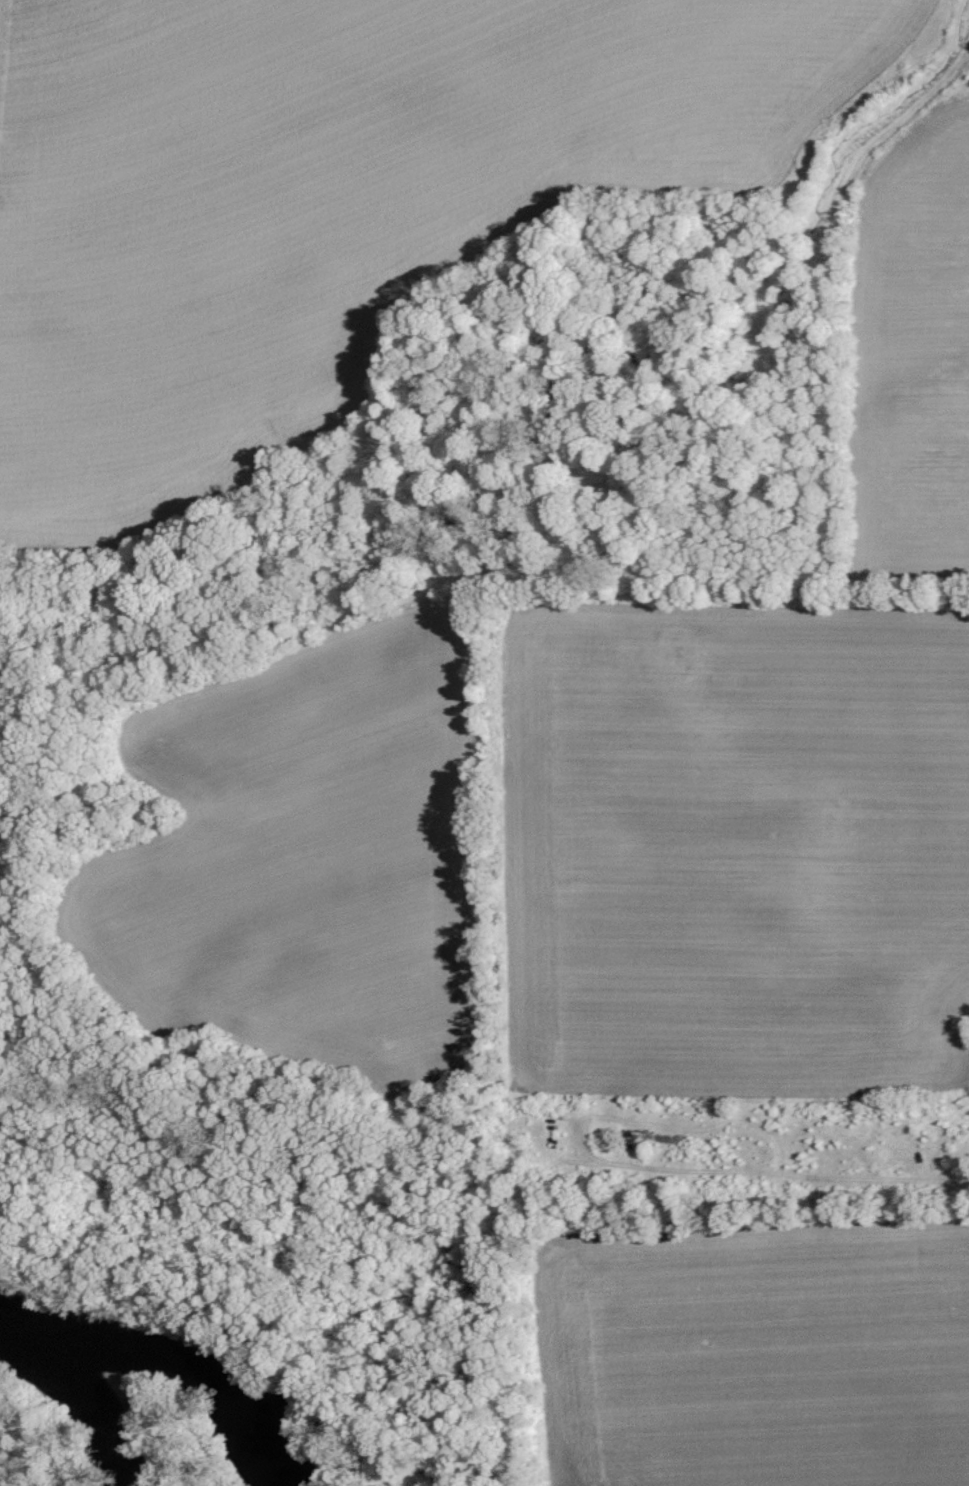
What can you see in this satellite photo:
river: (40, 1454)

